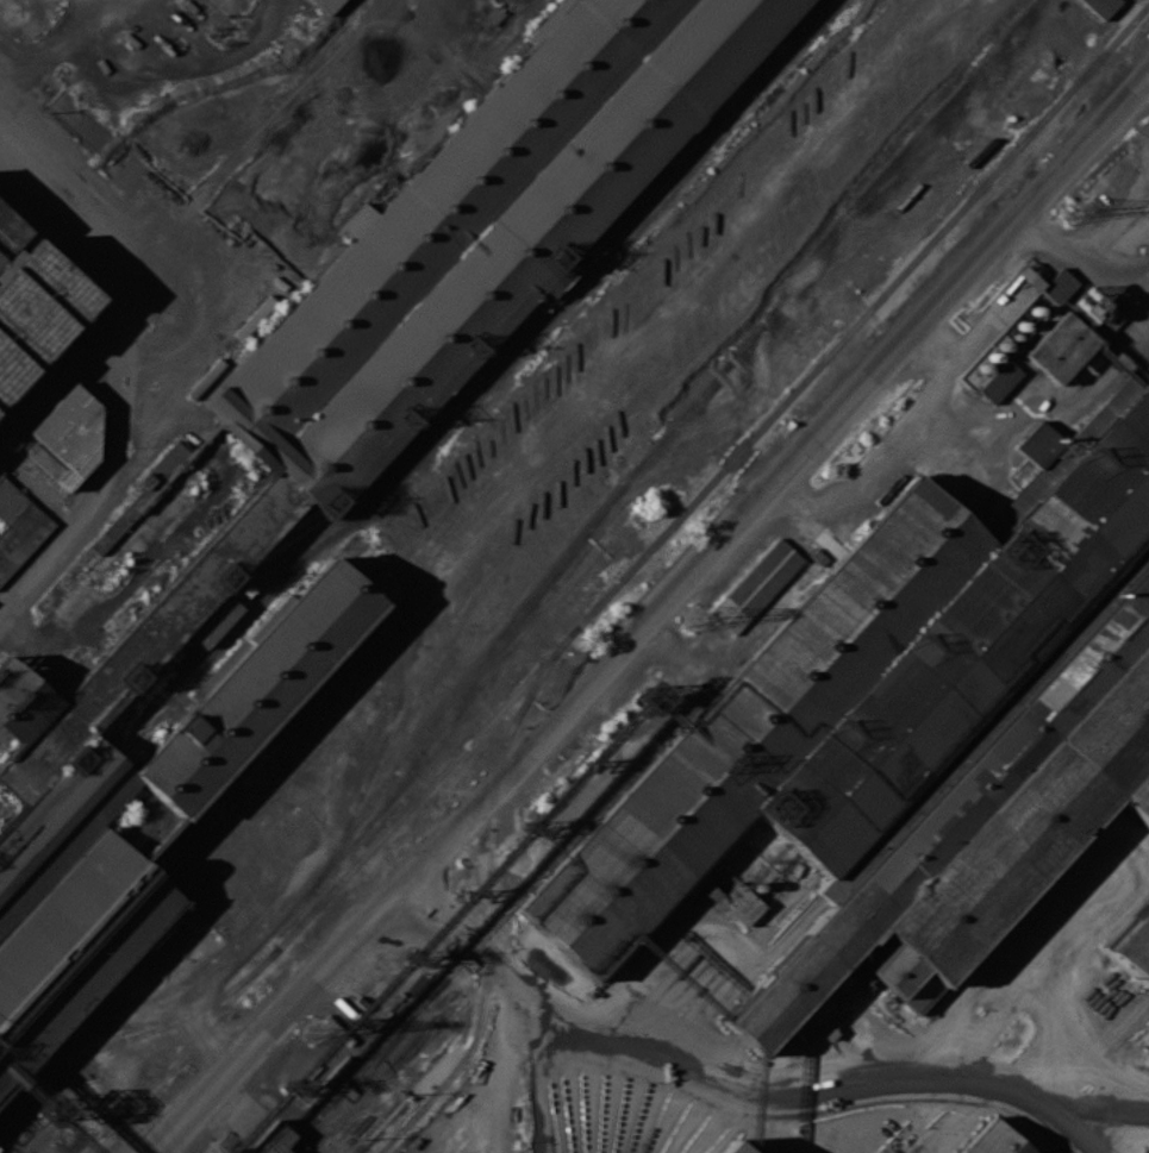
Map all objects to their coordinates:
building: (327, 5)
building: (1100, 6)
building: (438, 214)
road: (851, 224)
building: (527, 242)
building: (1050, 284)
building: (33, 303)
road: (119, 337)
building: (1066, 344)
building: (999, 381)
building: (67, 437)
road: (892, 447)
building: (18, 526)
railway: (620, 581)
building: (756, 584)
railway: (512, 727)
building: (907, 742)
building: (137, 772)
road: (502, 775)
building: (743, 903)
building: (1134, 941)
road: (273, 1008)
railway: (482, 1016)
railway: (162, 1027)
road: (961, 1117)
road: (774, 1128)
building: (994, 1140)
building: (276, 1141)
road: (1137, 1141)
building: (728, 1148)

